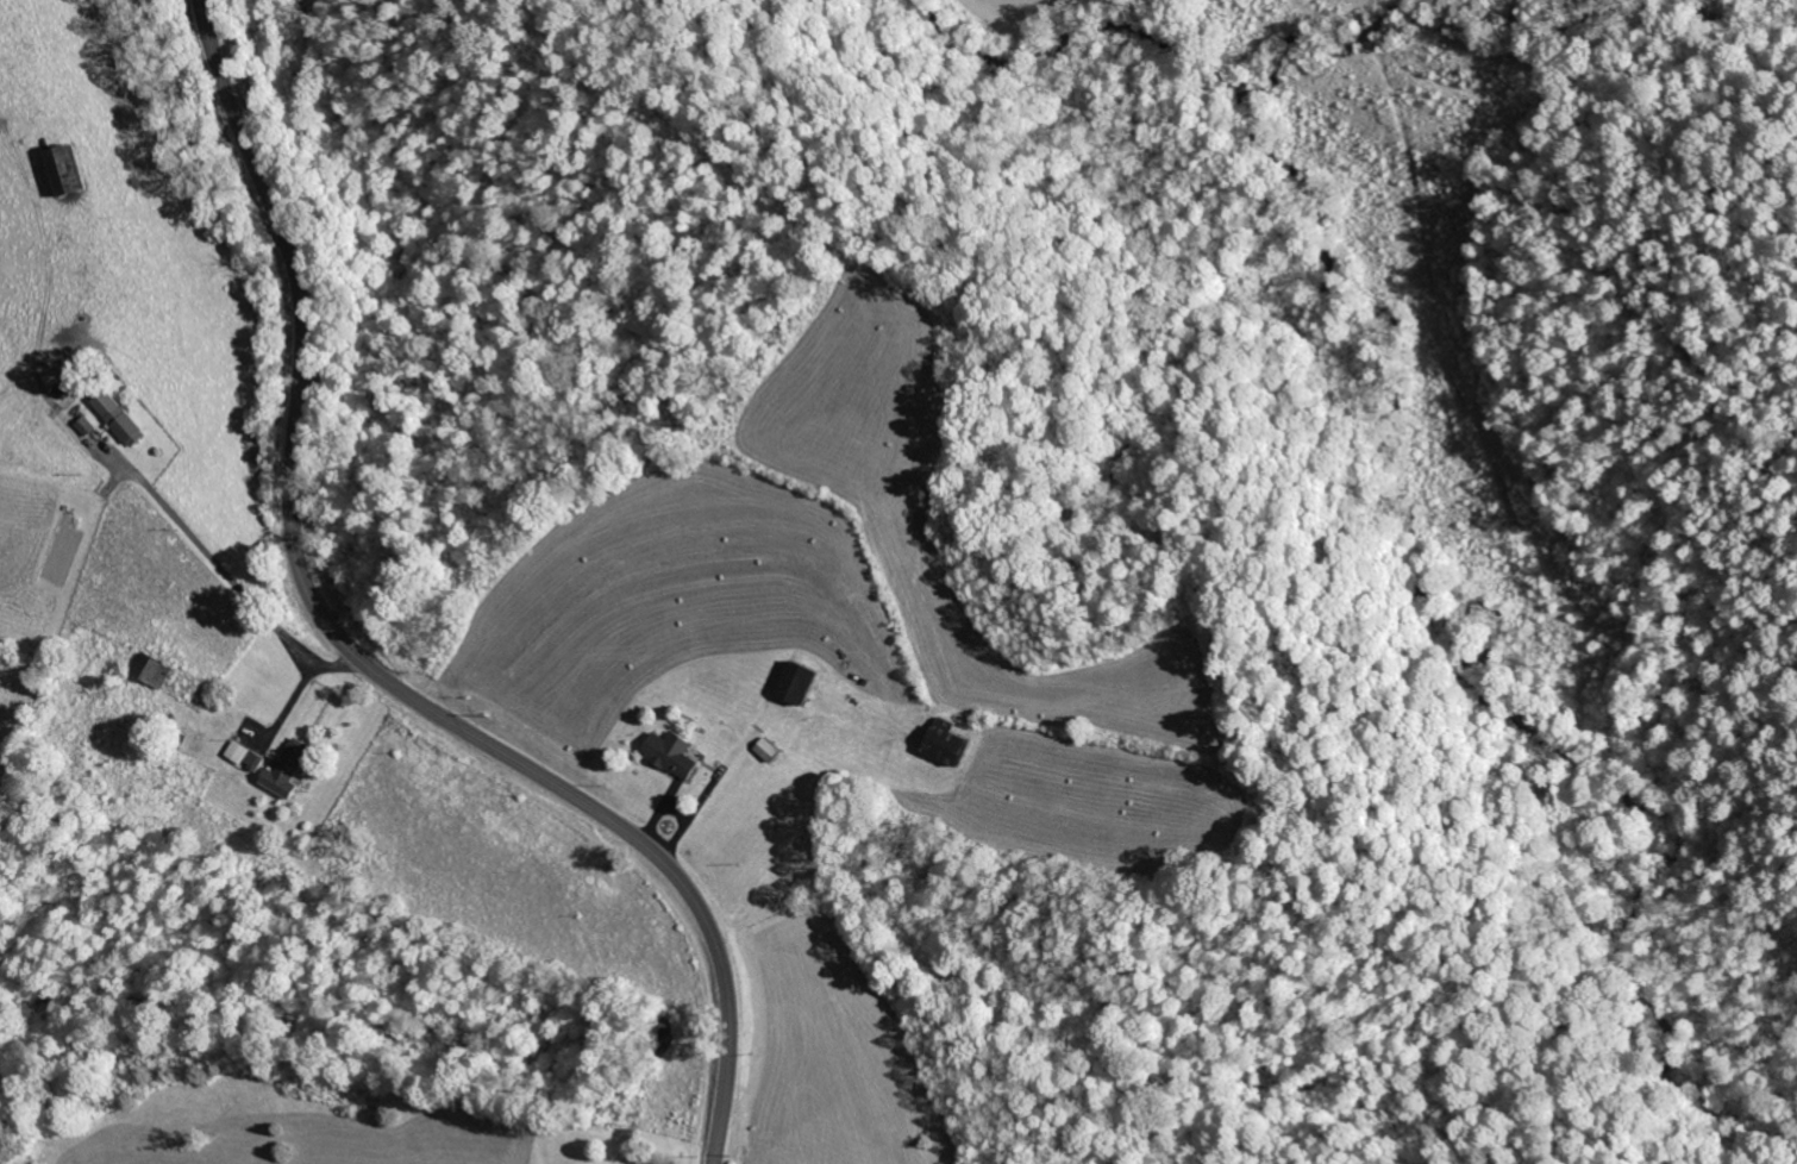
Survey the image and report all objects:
building: (65, 170)
building: (120, 419)
building: (87, 426)
road: (355, 657)
building: (154, 671)
building: (799, 683)
building: (950, 746)
building: (768, 750)
building: (671, 755)
building: (245, 756)
building: (288, 769)

